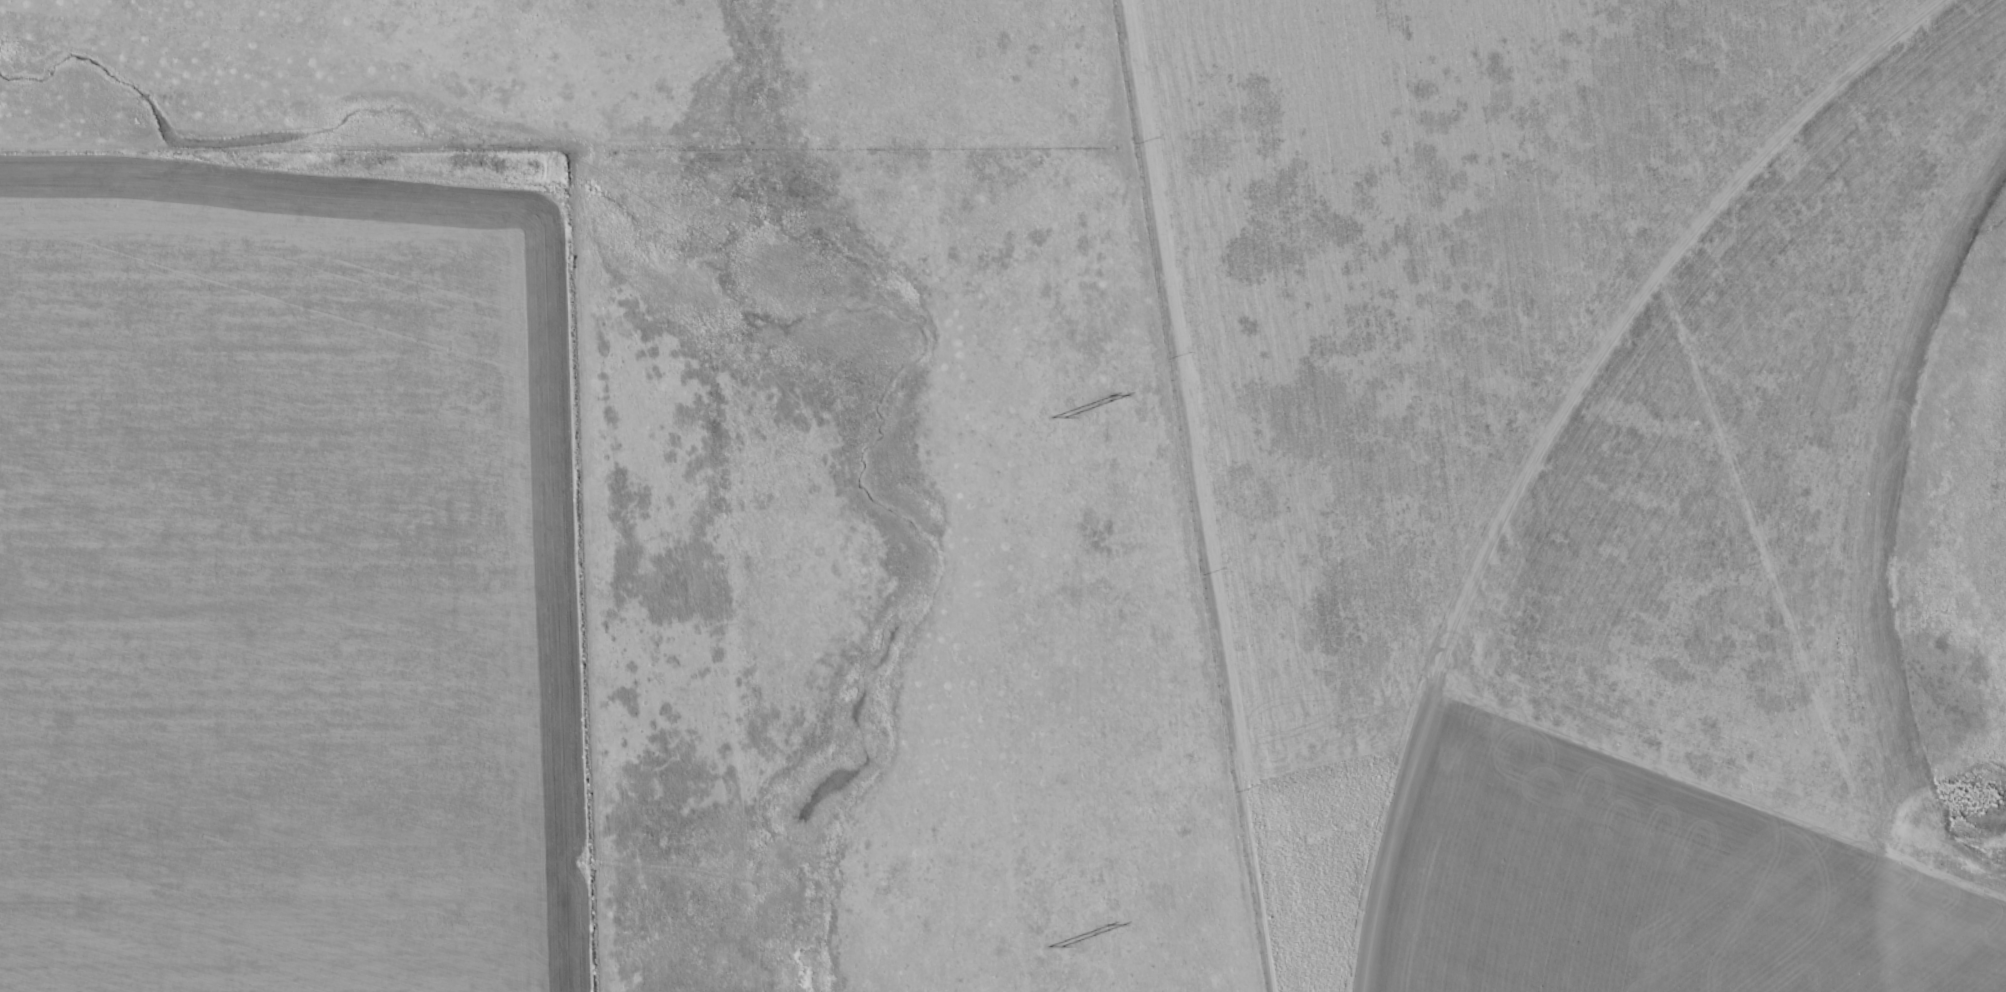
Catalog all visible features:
power tower: (1058, 417)
power tower: (1053, 943)

